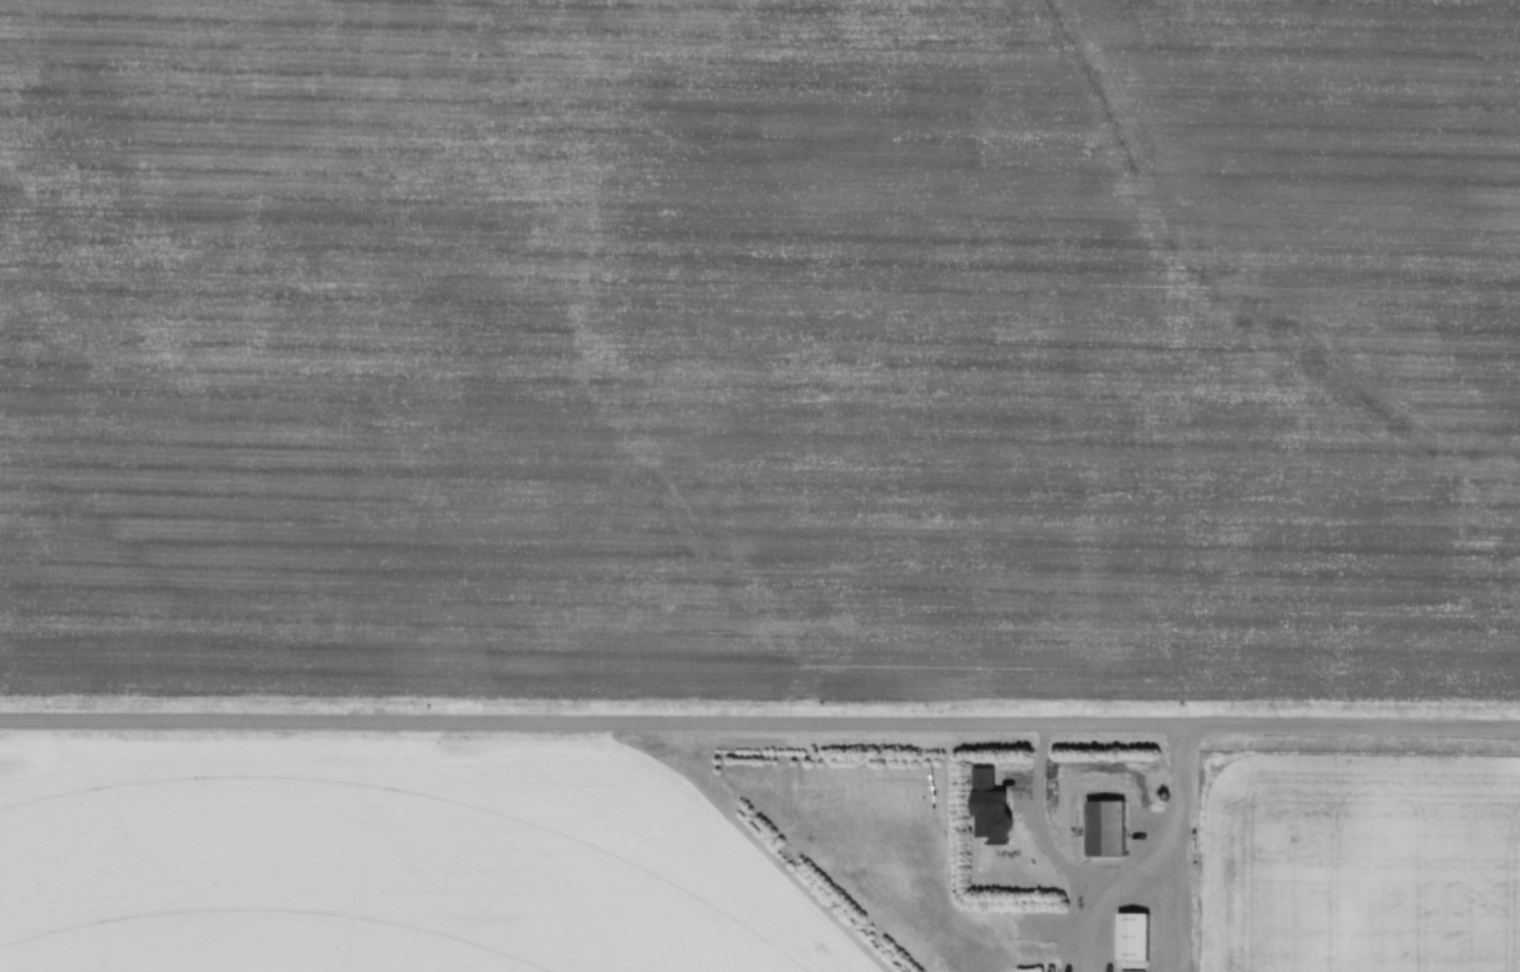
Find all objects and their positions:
road: (760, 725)
building: (988, 794)
building: (1107, 828)
building: (1134, 936)

